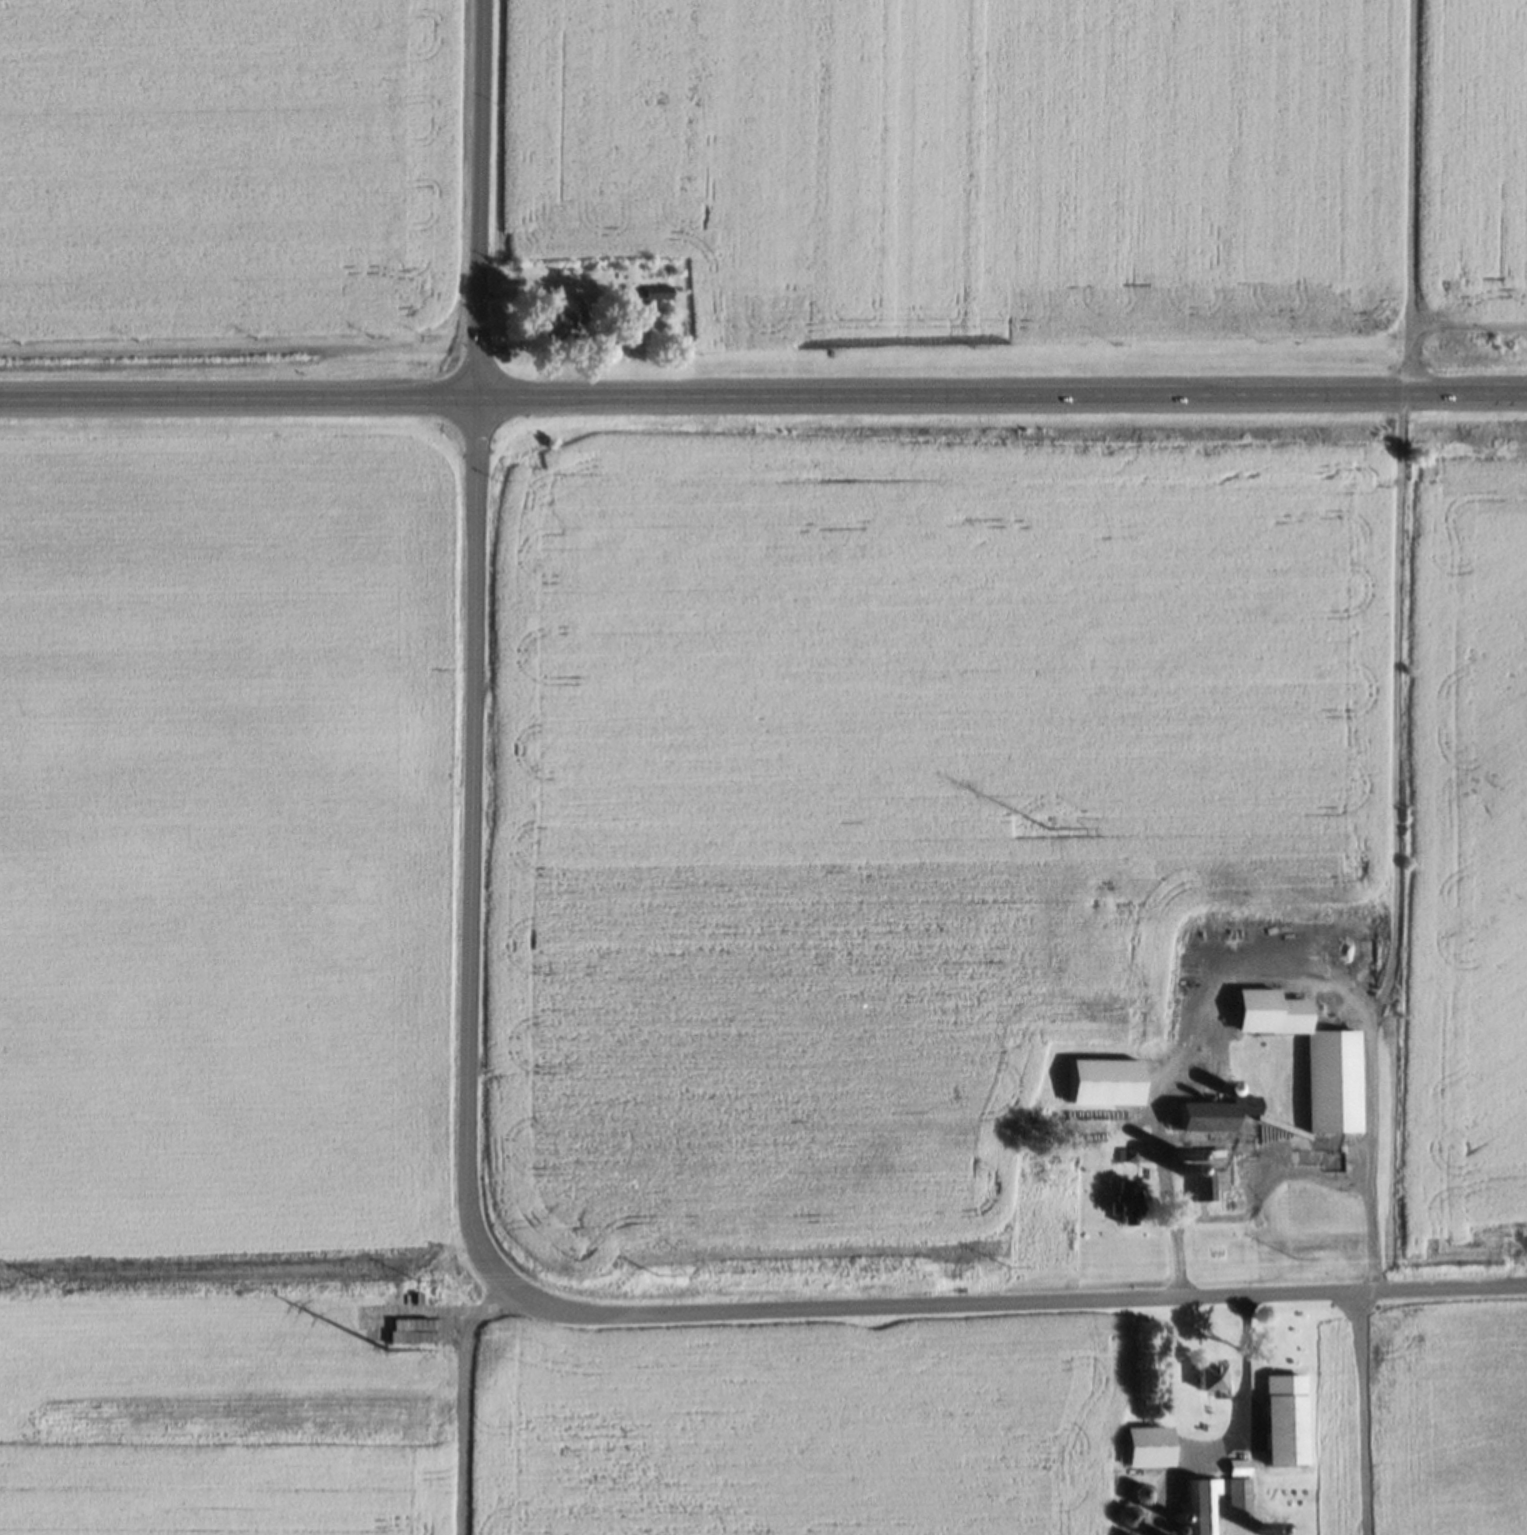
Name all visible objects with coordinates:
crop: (227, 167)
road: (1403, 199)
building: (556, 330)
road: (763, 401)
power tower: (1045, 833)
crop: (226, 861)
building: (1104, 1086)
building: (1332, 1087)
road: (1153, 1105)
building: (1222, 1121)
road: (467, 1164)
road: (1273, 1172)
building: (1199, 1177)
building: (1131, 1217)
power tower: (380, 1356)
building: (1209, 1384)
road: (457, 1402)
road: (1360, 1412)
building: (1285, 1435)
building: (1148, 1452)
road: (1187, 1454)
building: (1136, 1499)
building: (1194, 1512)

